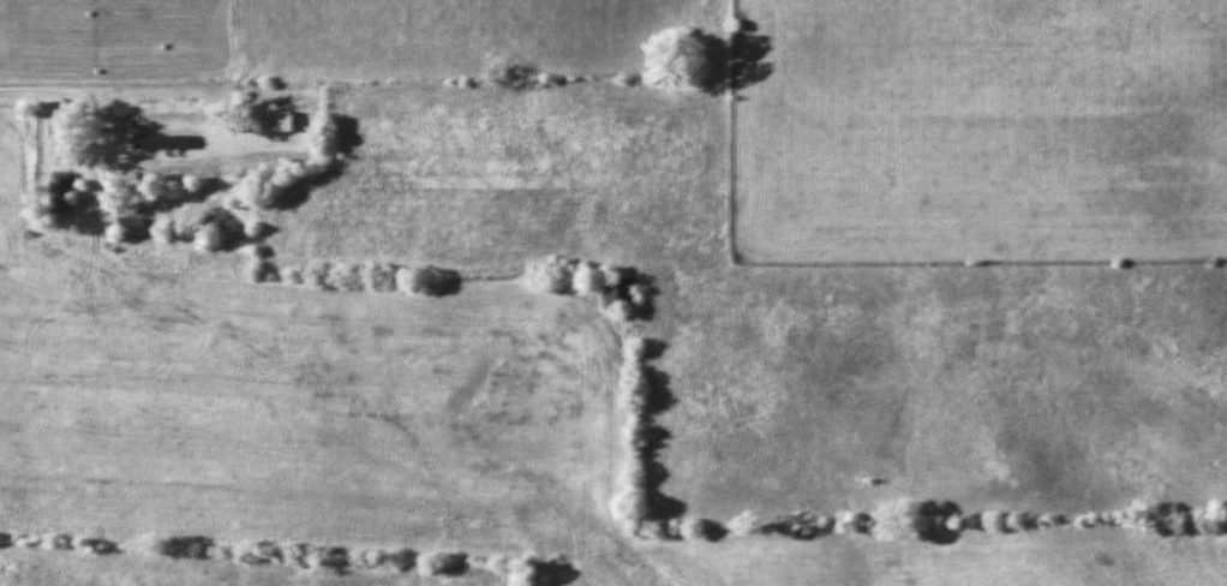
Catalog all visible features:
crop: (486, 41)
building: (42, 157)
building: (60, 193)

